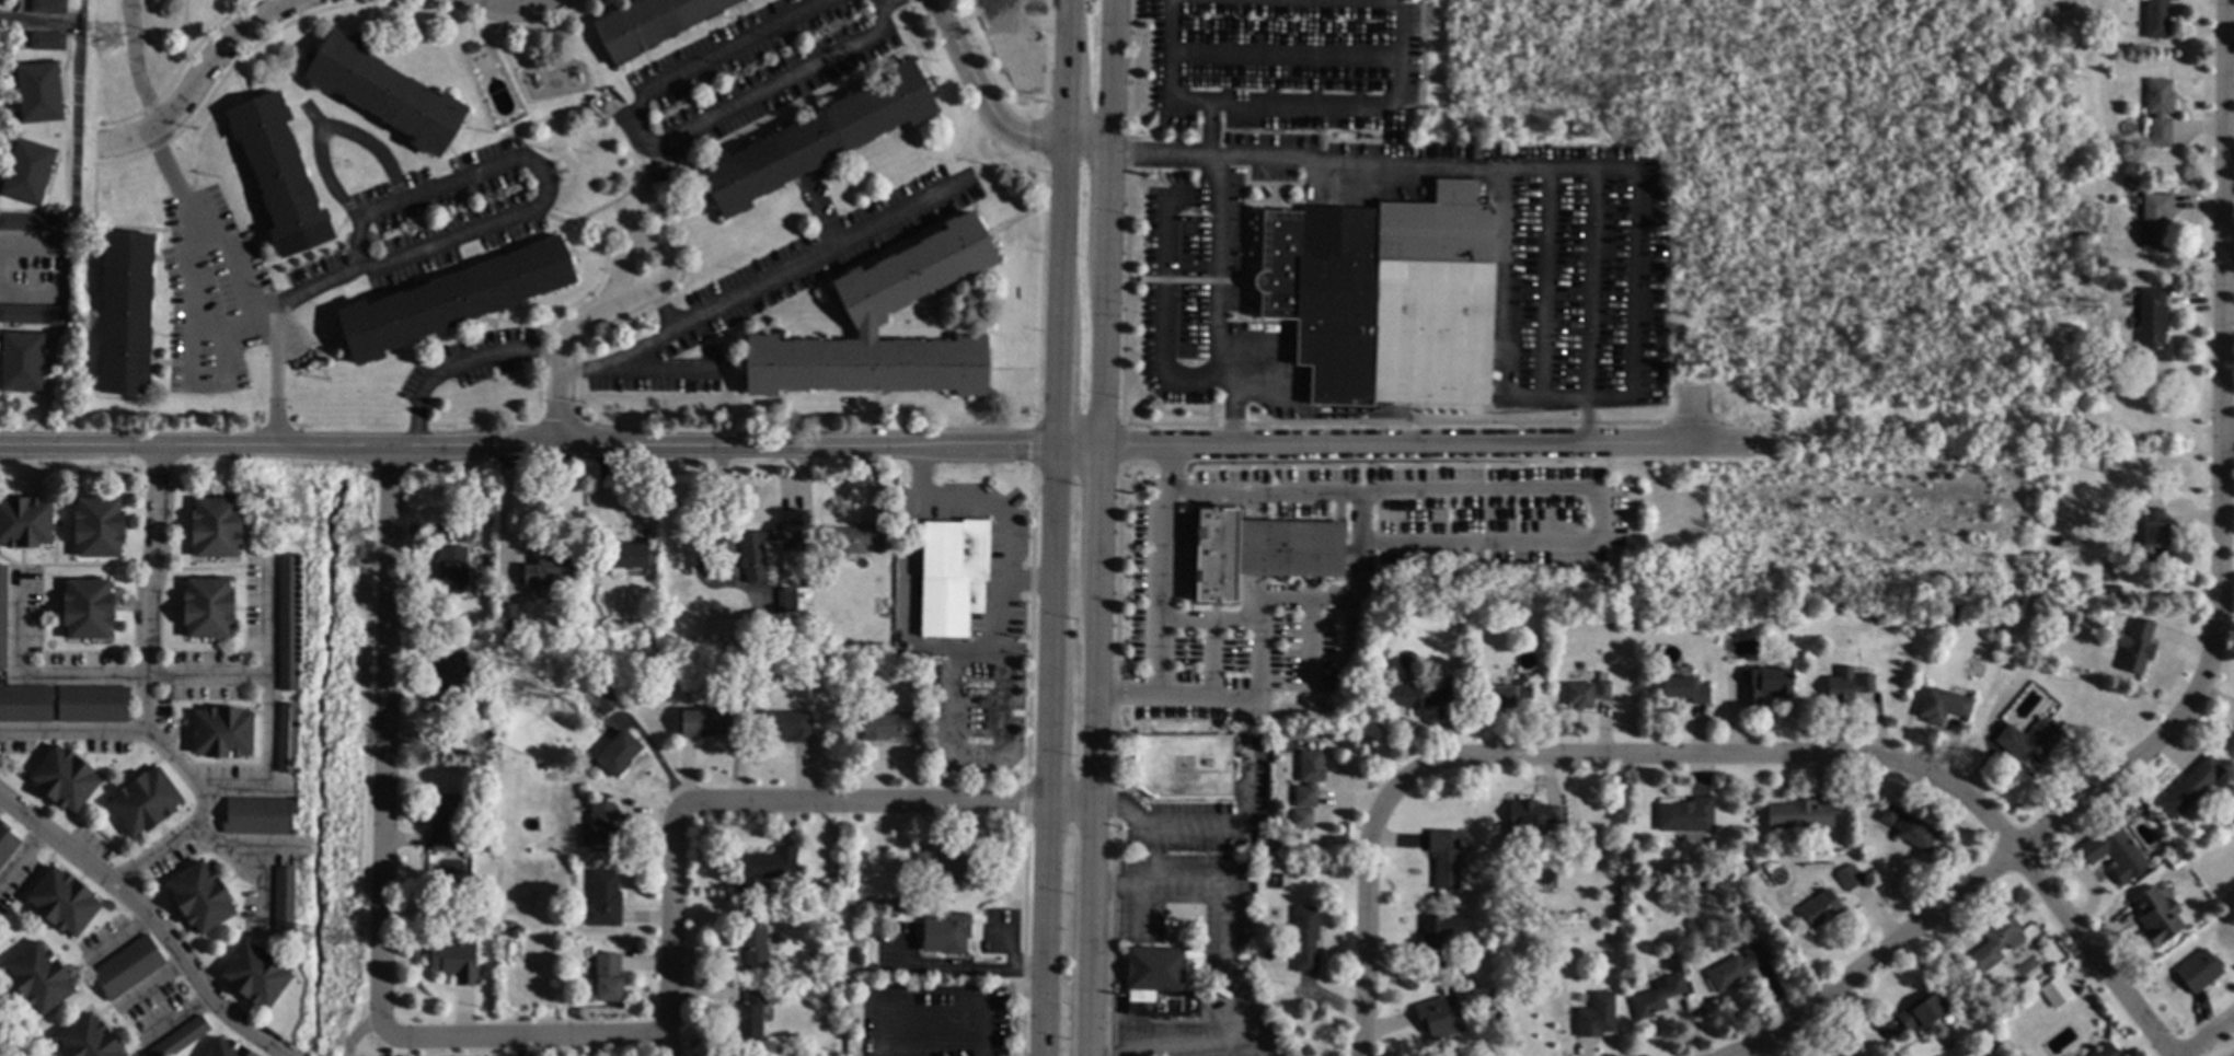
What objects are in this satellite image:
road: (1436, 5)
building: (48, 7)
road: (513, 11)
building: (998, 15)
building: (2155, 19)
building: (650, 24)
road: (36, 25)
road: (1682, 30)
power tower: (112, 37)
building: (47, 42)
building: (471, 48)
road: (2028, 48)
road: (135, 63)
road: (1668, 66)
road: (204, 72)
road: (1171, 72)
building: (38, 93)
building: (384, 93)
road: (992, 111)
road: (1964, 111)
building: (2158, 111)
road: (1775, 119)
building: (1384, 124)
road: (1840, 129)
building: (816, 140)
road: (660, 148)
road: (1846, 153)
road: (1990, 166)
road: (1401, 167)
building: (26, 172)
building: (278, 174)
park: (1830, 179)
road: (445, 186)
road: (607, 202)
road: (655, 202)
road: (659, 220)
building: (2154, 221)
building: (32, 222)
road: (1106, 223)
road: (196, 232)
road: (27, 244)
road: (1826, 245)
road: (1219, 251)
road: (672, 254)
building: (2101, 263)
building: (1359, 269)
road: (342, 278)
road: (765, 290)
road: (30, 293)
building: (452, 300)
building: (873, 306)
road: (1588, 307)
building: (125, 314)
building: (31, 315)
road: (193, 320)
road: (1829, 325)
building: (2151, 328)
road: (2013, 333)
road: (2220, 335)
road: (562, 359)
road: (460, 360)
building: (22, 362)
road: (1057, 402)
road: (1688, 417)
road: (2226, 434)
road: (863, 446)
building: (2116, 472)
building: (445, 510)
road: (504, 518)
building: (24, 522)
building: (97, 527)
building: (215, 527)
power tower: (350, 534)
building: (2153, 535)
building: (852, 539)
building: (1259, 552)
building: (751, 553)
building: (626, 556)
road: (1003, 568)
building: (452, 569)
building: (548, 573)
building: (638, 573)
building: (953, 577)
building: (2111, 592)
road: (1162, 594)
road: (1348, 595)
building: (574, 599)
building: (786, 602)
building: (2083, 604)
building: (207, 608)
building: (1516, 608)
building: (87, 610)
building: (1872, 612)
building: (1954, 613)
building: (2, 616)
building: (508, 617)
building: (1378, 617)
building: (1635, 617)
building: (288, 624)
building: (763, 638)
building: (2134, 647)
building: (654, 661)
building: (921, 664)
building: (2010, 665)
building: (1868, 671)
building: (760, 673)
road: (97, 674)
building: (451, 674)
building: (1765, 685)
building: (1846, 685)
building: (1684, 691)
building: (1585, 695)
building: (1419, 696)
building: (1508, 697)
road: (150, 698)
building: (604, 701)
building: (26, 704)
building: (92, 704)
building: (1942, 706)
road: (268, 713)
building: (701, 723)
building: (785, 726)
building: (888, 727)
building: (222, 733)
road: (77, 734)
road: (381, 736)
building: (488, 738)
building: (287, 739)
building: (2029, 741)
road: (1094, 752)
road: (1702, 754)
building: (618, 755)
building: (542, 765)
building: (1183, 766)
building: (1308, 779)
building: (64, 780)
building: (1464, 787)
building: (2189, 789)
building: (145, 802)
road: (886, 802)
building: (1798, 815)
building: (1685, 816)
building: (258, 817)
building: (1530, 817)
building: (1301, 819)
building: (446, 824)
road: (1145, 827)
building: (602, 828)
building: (1908, 828)
building: (1277, 837)
building: (7, 844)
building: (2112, 854)
building: (465, 856)
building: (1444, 859)
building: (944, 863)
building: (1245, 863)
building: (2174, 863)
building: (769, 864)
building: (1752, 867)
building: (1737, 868)
road: (1977, 871)
building: (1619, 877)
building: (1849, 879)
building: (1707, 886)
building: (814, 892)
building: (199, 898)
building: (603, 901)
building: (64, 903)
building: (284, 903)
building: (1820, 909)
road: (670, 914)
building: (2155, 917)
building: (1644, 918)
road: (148, 922)
building: (510, 926)
road: (1043, 930)
building: (552, 932)
building: (945, 935)
road: (114, 937)
building: (753, 938)
building: (1439, 938)
power tower: (344, 939)
building: (1304, 939)
building: (1610, 940)
building: (1993, 945)
road: (1229, 955)
building: (454, 961)
building: (127, 968)
building: (1736, 968)
building: (2198, 971)
building: (255, 975)
building: (607, 978)
building: (38, 979)
building: (1161, 980)
road: (151, 984)
building: (2054, 993)
building: (1656, 997)
building: (1921, 1012)
building: (750, 1013)
building: (1594, 1017)
building: (1437, 1019)
road: (172, 1020)
building: (1497, 1025)
road: (356, 1032)
park: (16, 1033)
road: (520, 1034)
road: (2206, 1034)
building: (88, 1038)
building: (180, 1038)
building: (226, 1048)
building: (2106, 1052)

